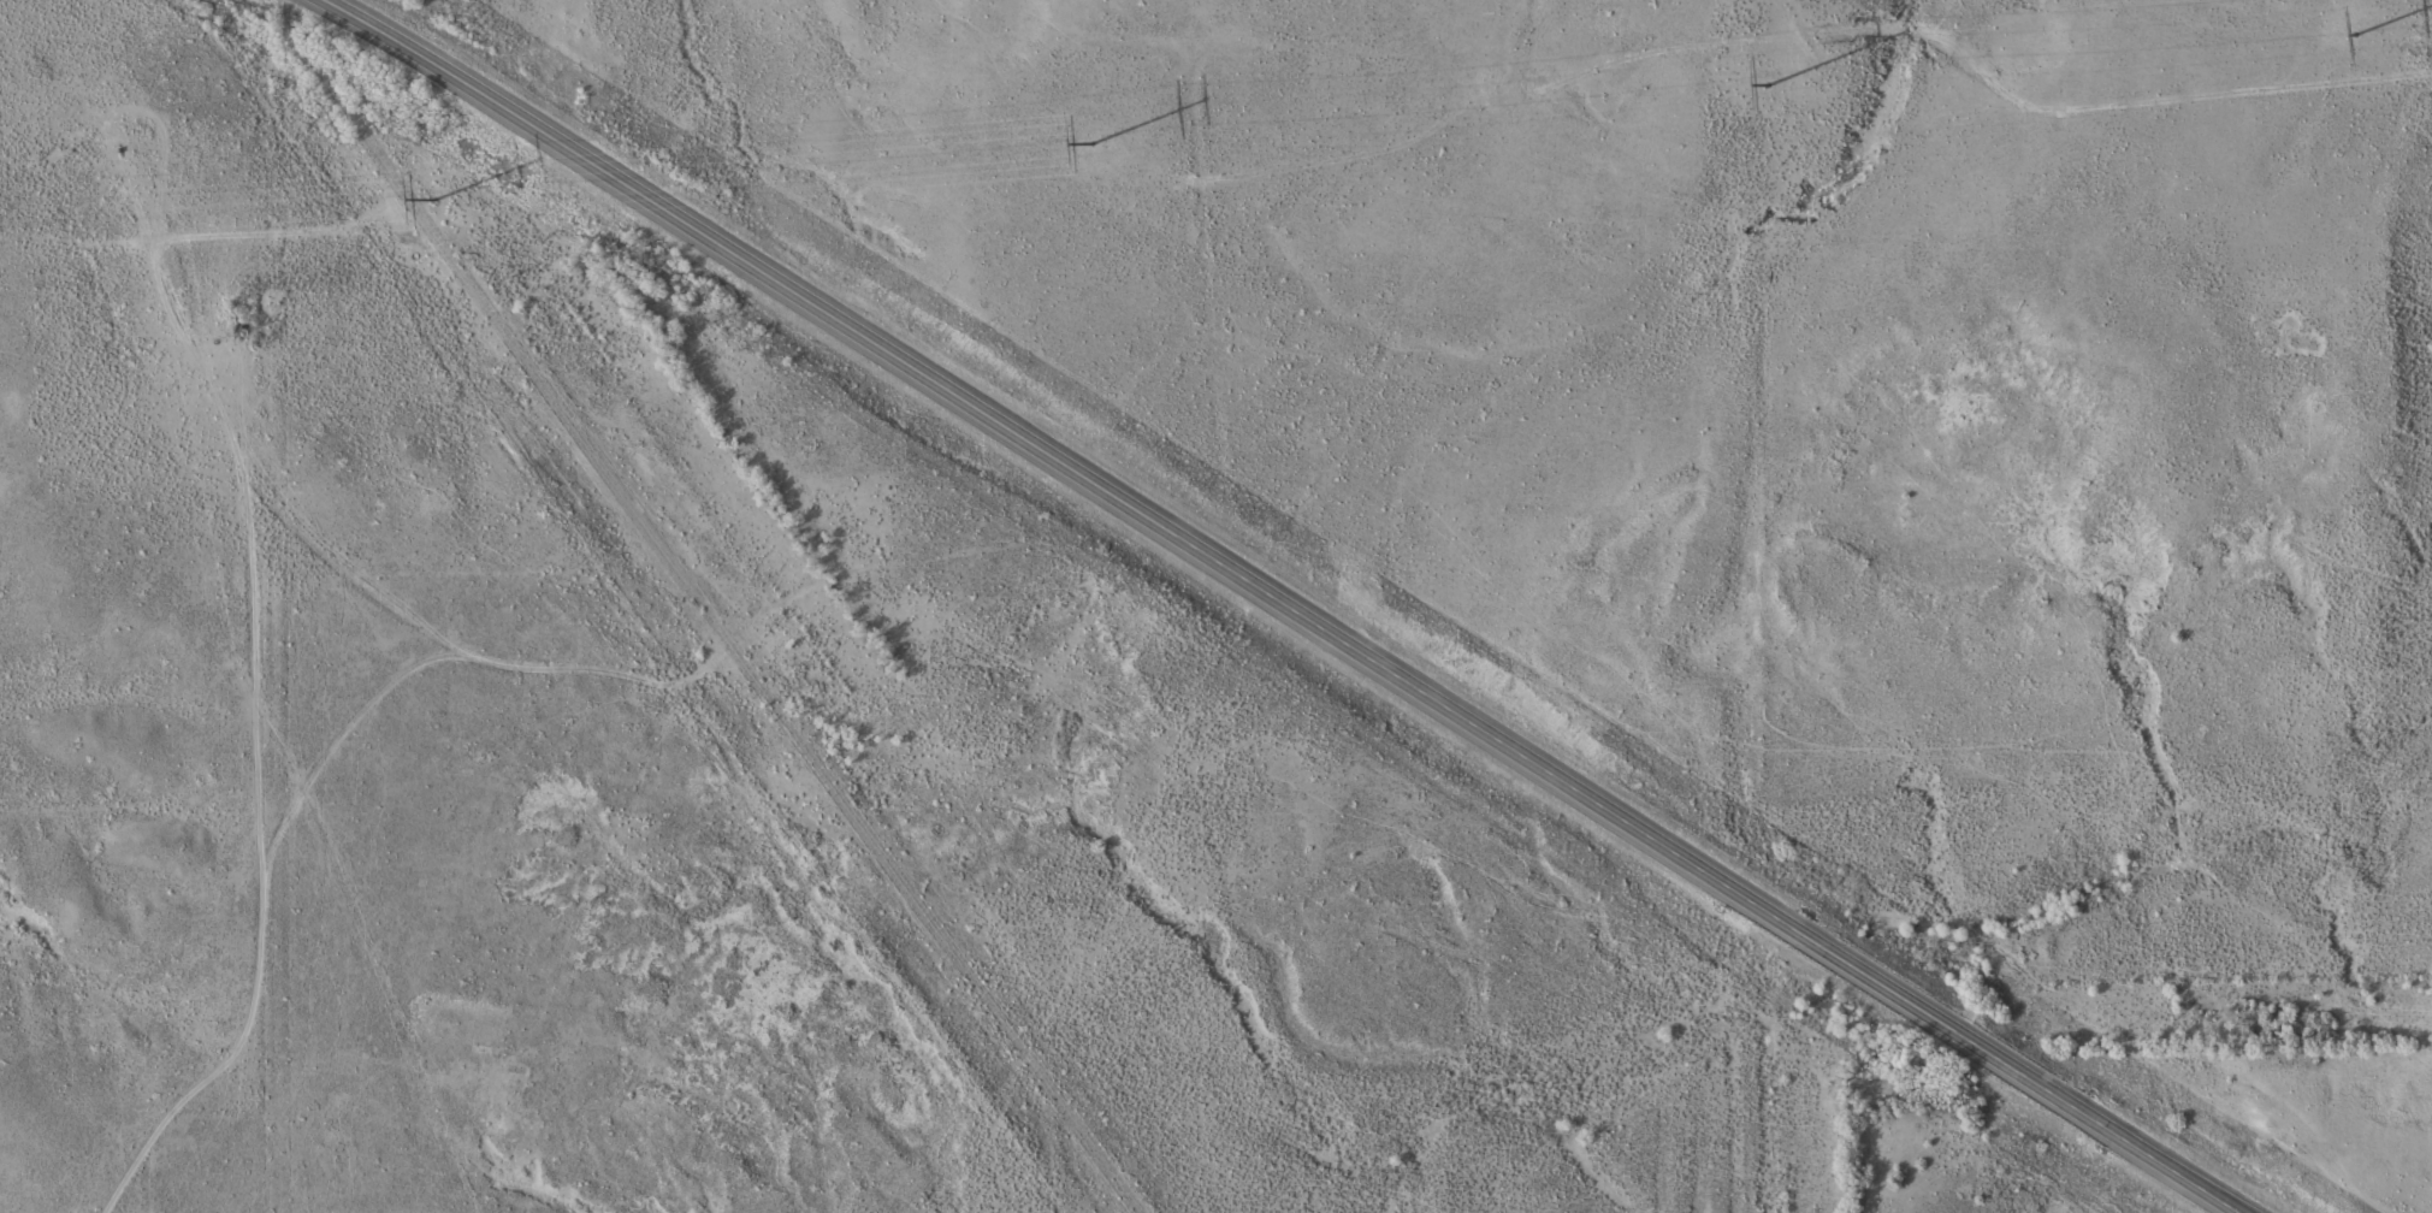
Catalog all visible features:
power tower: (2356, 31)
power tower: (1769, 82)
power tower: (1091, 142)
power tower: (436, 197)
road: (1288, 608)
road: (425, 684)
road: (304, 943)

